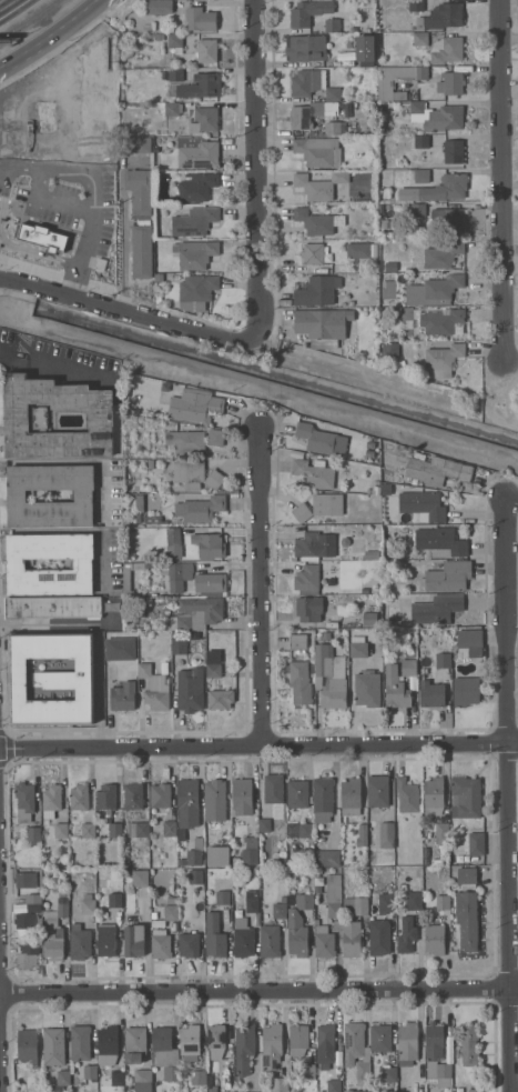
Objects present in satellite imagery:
road: (4, 2)
building: (373, 2)
building: (159, 7)
building: (419, 8)
building: (308, 11)
building: (439, 17)
road: (77, 19)
building: (201, 19)
railway: (28, 20)
building: (336, 24)
building: (174, 30)
building: (420, 39)
building: (176, 40)
building: (307, 48)
building: (365, 48)
building: (447, 49)
building: (207, 50)
road: (26, 53)
building: (329, 71)
building: (175, 74)
building: (397, 78)
building: (307, 82)
building: (453, 82)
building: (201, 86)
building: (333, 93)
building: (99, 98)
building: (380, 104)
building: (417, 107)
building: (311, 113)
building: (370, 114)
building: (45, 116)
building: (206, 118)
building: (445, 118)
building: (335, 128)
building: (421, 141)
building: (135, 144)
building: (318, 150)
building: (197, 151)
building: (454, 151)
road: (35, 163)
road: (257, 169)
building: (418, 176)
road: (501, 179)
road: (40, 180)
building: (315, 184)
building: (196, 186)
road: (3, 188)
building: (440, 189)
building: (139, 190)
building: (384, 193)
building: (344, 196)
road: (55, 201)
building: (372, 206)
parking lot: (74, 207)
building: (447, 219)
building: (197, 220)
building: (317, 221)
road: (88, 227)
road: (123, 228)
building: (42, 237)
building: (142, 248)
building: (358, 250)
building: (314, 252)
road: (37, 253)
building: (196, 253)
building: (443, 254)
building: (390, 267)
building: (159, 278)
building: (388, 289)
building: (316, 290)
building: (434, 290)
building: (196, 291)
building: (159, 299)
river: (18, 300)
road: (129, 312)
building: (437, 320)
building: (322, 325)
building: (389, 349)
building: (441, 360)
road: (57, 367)
river: (277, 374)
building: (197, 404)
building: (17, 419)
building: (316, 438)
building: (194, 440)
building: (372, 444)
building: (369, 453)
building: (151, 464)
building: (437, 470)
building: (315, 473)
building: (196, 474)
building: (387, 489)
building: (17, 495)
building: (423, 504)
building: (319, 507)
building: (140, 508)
building: (201, 509)
building: (155, 520)
building: (126, 522)
building: (205, 530)
building: (174, 535)
building: (440, 542)
building: (210, 545)
building: (315, 545)
building: (372, 554)
building: (17, 561)
building: (180, 574)
building: (449, 577)
building: (308, 580)
building: (332, 581)
building: (128, 582)
building: (213, 583)
road: (260, 585)
building: (346, 589)
building: (53, 608)
building: (308, 609)
building: (437, 609)
building: (195, 613)
building: (370, 619)
building: (470, 638)
building: (297, 643)
building: (180, 645)
building: (358, 645)
building: (410, 653)
building: (444, 660)
building: (409, 667)
building: (214, 670)
building: (111, 671)
building: (332, 675)
building: (52, 679)
building: (301, 683)
building: (155, 688)
building: (396, 688)
building: (191, 689)
building: (368, 689)
building: (466, 691)
building: (431, 694)
building: (123, 697)
building: (221, 698)
road: (258, 745)
building: (274, 789)
building: (378, 791)
building: (215, 793)
building: (297, 793)
building: (434, 793)
building: (161, 795)
building: (407, 795)
road: (510, 795)
building: (80, 797)
building: (134, 797)
building: (242, 797)
building: (352, 797)
building: (466, 797)
building: (106, 798)
building: (323, 799)
building: (26, 801)
building: (52, 801)
building: (189, 802)
building: (277, 807)
building: (71, 814)
building: (265, 825)
building: (115, 829)
building: (139, 829)
building: (170, 829)
building: (61, 830)
building: (89, 830)
building: (299, 830)
building: (223, 831)
building: (183, 833)
building: (443, 833)
building: (33, 834)
building: (322, 834)
building: (363, 834)
building: (387, 834)
building: (477, 843)
building: (195, 852)
building: (219, 855)
building: (250, 856)
building: (327, 858)
building: (372, 859)
building: (426, 861)
building: (437, 861)
building: (182, 862)
building: (282, 875)
building: (195, 876)
building: (467, 876)
building: (141, 878)
building: (26, 880)
building: (318, 883)
building: (334, 888)
building: (33, 898)
building: (223, 898)
building: (283, 899)
building: (115, 900)
building: (292, 900)
building: (252, 901)
building: (305, 901)
building: (387, 901)
building: (414, 901)
building: (444, 902)
building: (63, 903)
building: (88, 904)
building: (355, 905)
building: (33, 908)
building: (334, 910)
building: (171, 911)
building: (280, 911)
building: (26, 921)
building: (467, 921)
building: (241, 922)
building: (322, 929)
building: (297, 933)
building: (406, 935)
building: (215, 936)
building: (379, 936)
building: (106, 939)
building: (352, 939)
building: (435, 939)
building: (53, 940)
building: (135, 940)
building: (270, 941)
building: (80, 942)
building: (244, 942)
building: (161, 944)
building: (190, 944)
building: (325, 944)
building: (28, 956)
road: (258, 988)
building: (298, 1039)
building: (380, 1039)
building: (216, 1041)
building: (81, 1042)
building: (407, 1043)
building: (109, 1044)
building: (135, 1044)
building: (190, 1044)
building: (28, 1045)
building: (272, 1045)
building: (325, 1045)
building: (469, 1045)
building: (54, 1046)
building: (164, 1048)
building: (244, 1049)
building: (356, 1049)
building: (436, 1052)
building: (308, 1071)
building: (90, 1072)
building: (171, 1073)
building: (389, 1074)
building: (199, 1076)
building: (63, 1078)
building: (118, 1080)
building: (143, 1080)
building: (363, 1082)
building: (444, 1082)
building: (211, 1084)
building: (280, 1084)
building: (334, 1085)
building: (476, 1090)
building: (348, 1091)
building: (356, 1091)

